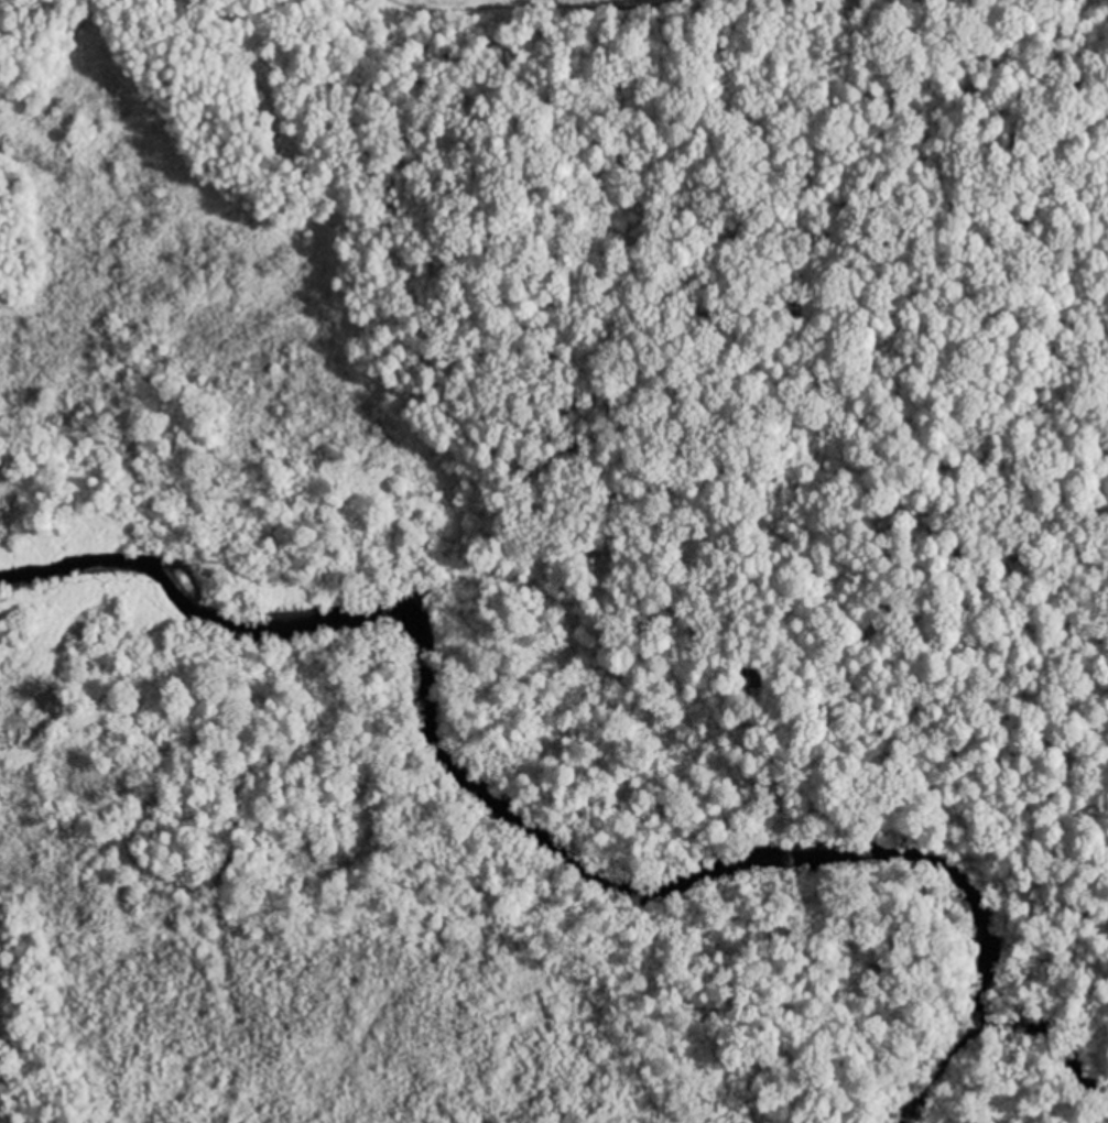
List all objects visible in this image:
river: (530, 850)

